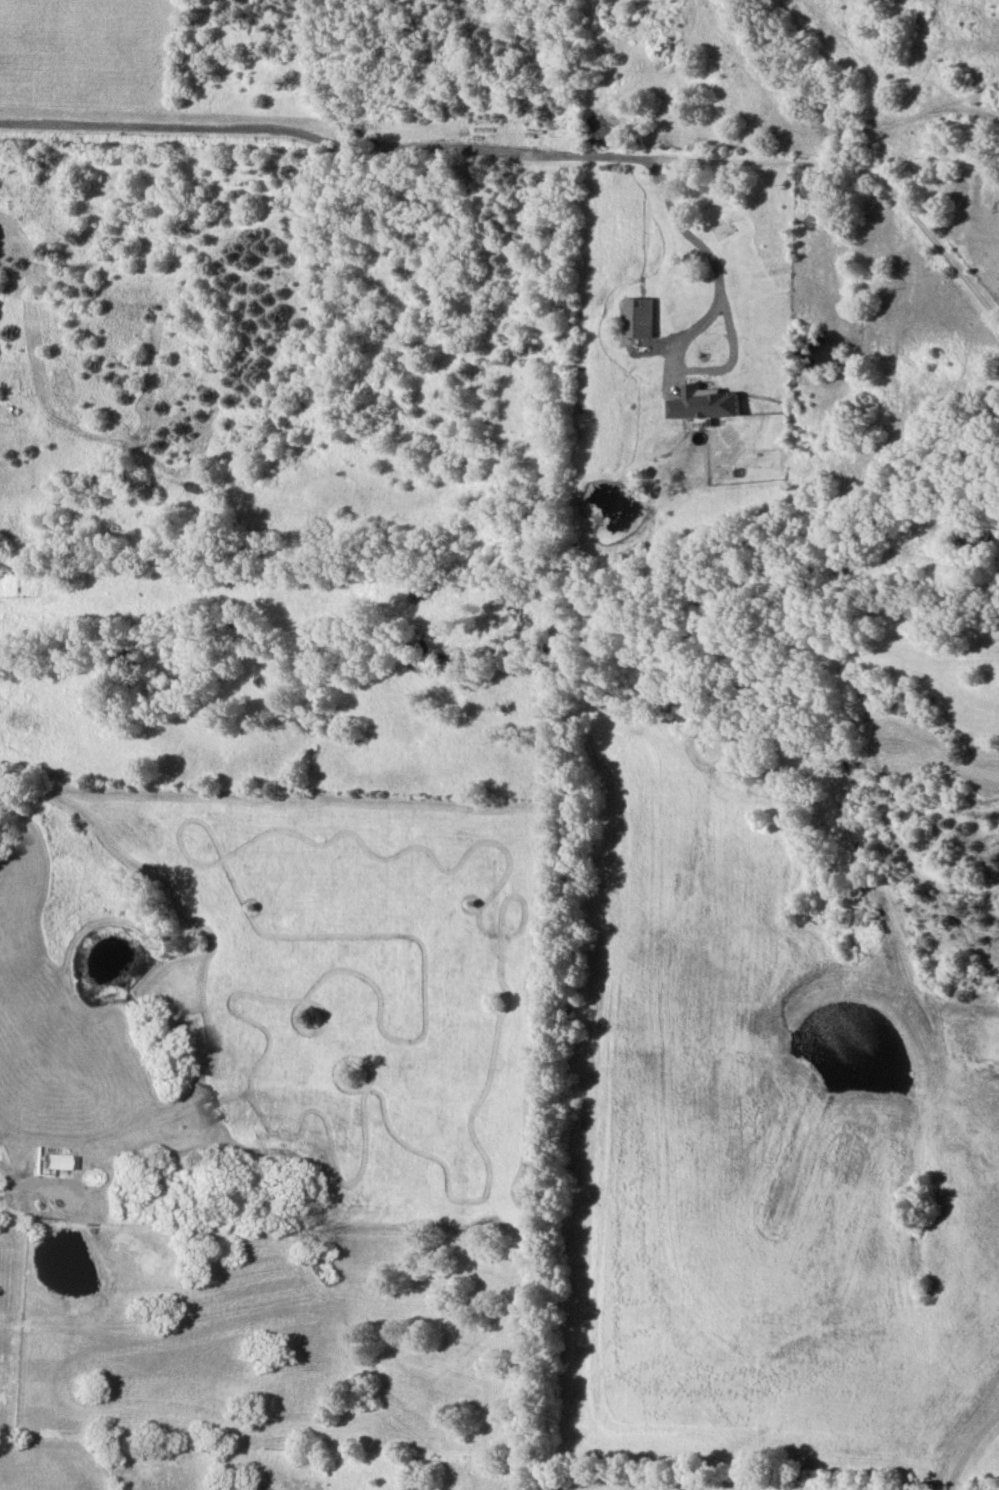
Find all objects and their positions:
road: (532, 147)
road: (710, 248)
building: (974, 540)
building: (55, 1162)
road: (34, 1184)
road: (970, 1451)

